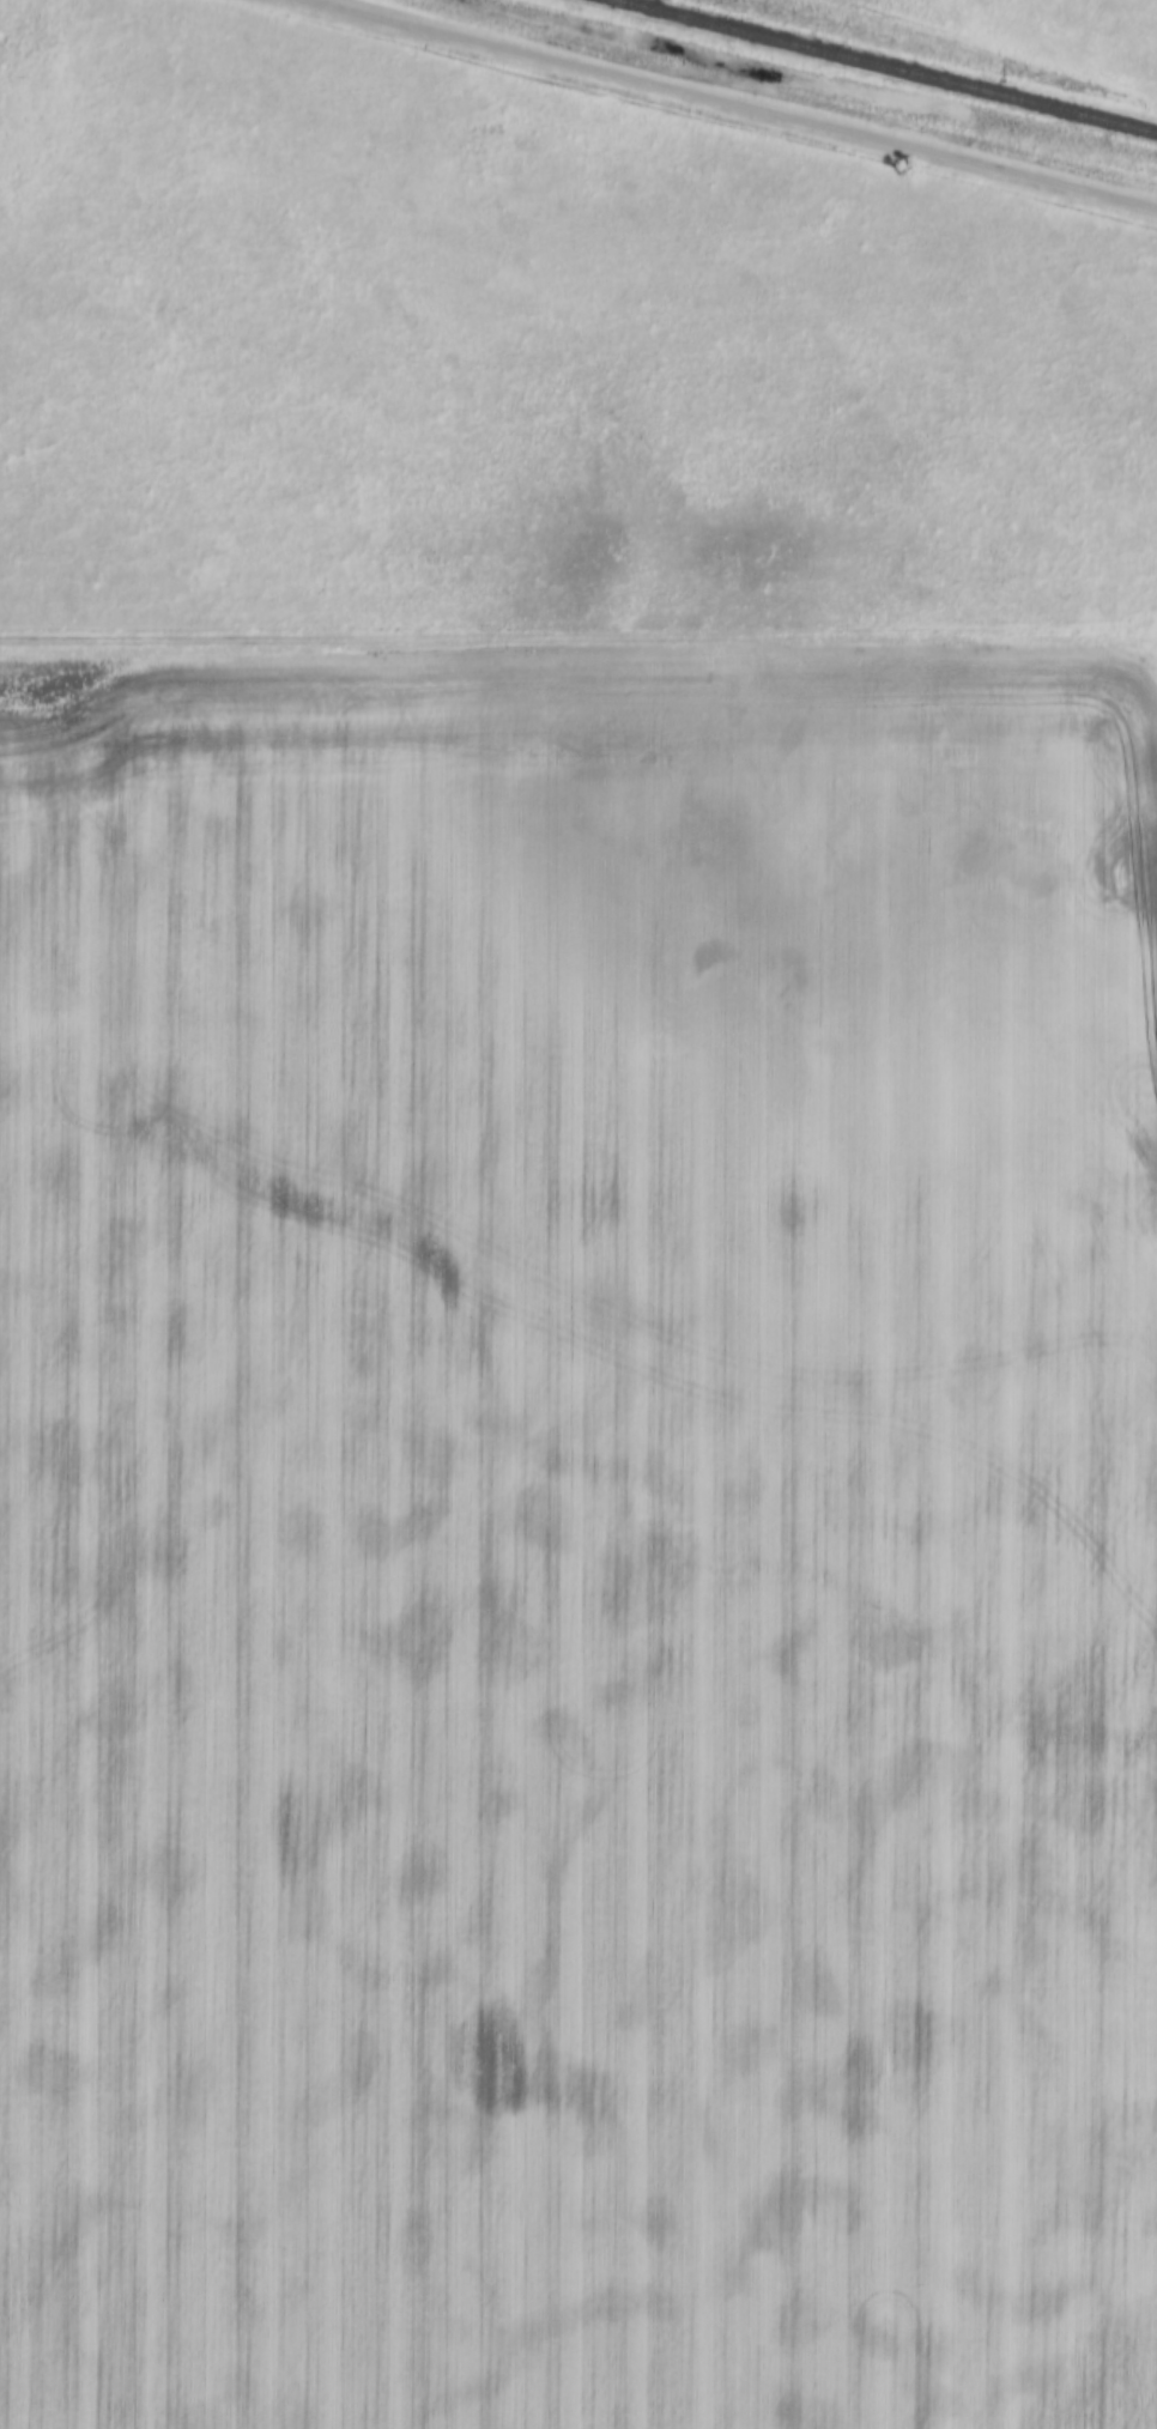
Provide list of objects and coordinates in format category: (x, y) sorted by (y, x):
railway: (882, 67)
road: (728, 105)
road: (577, 640)

